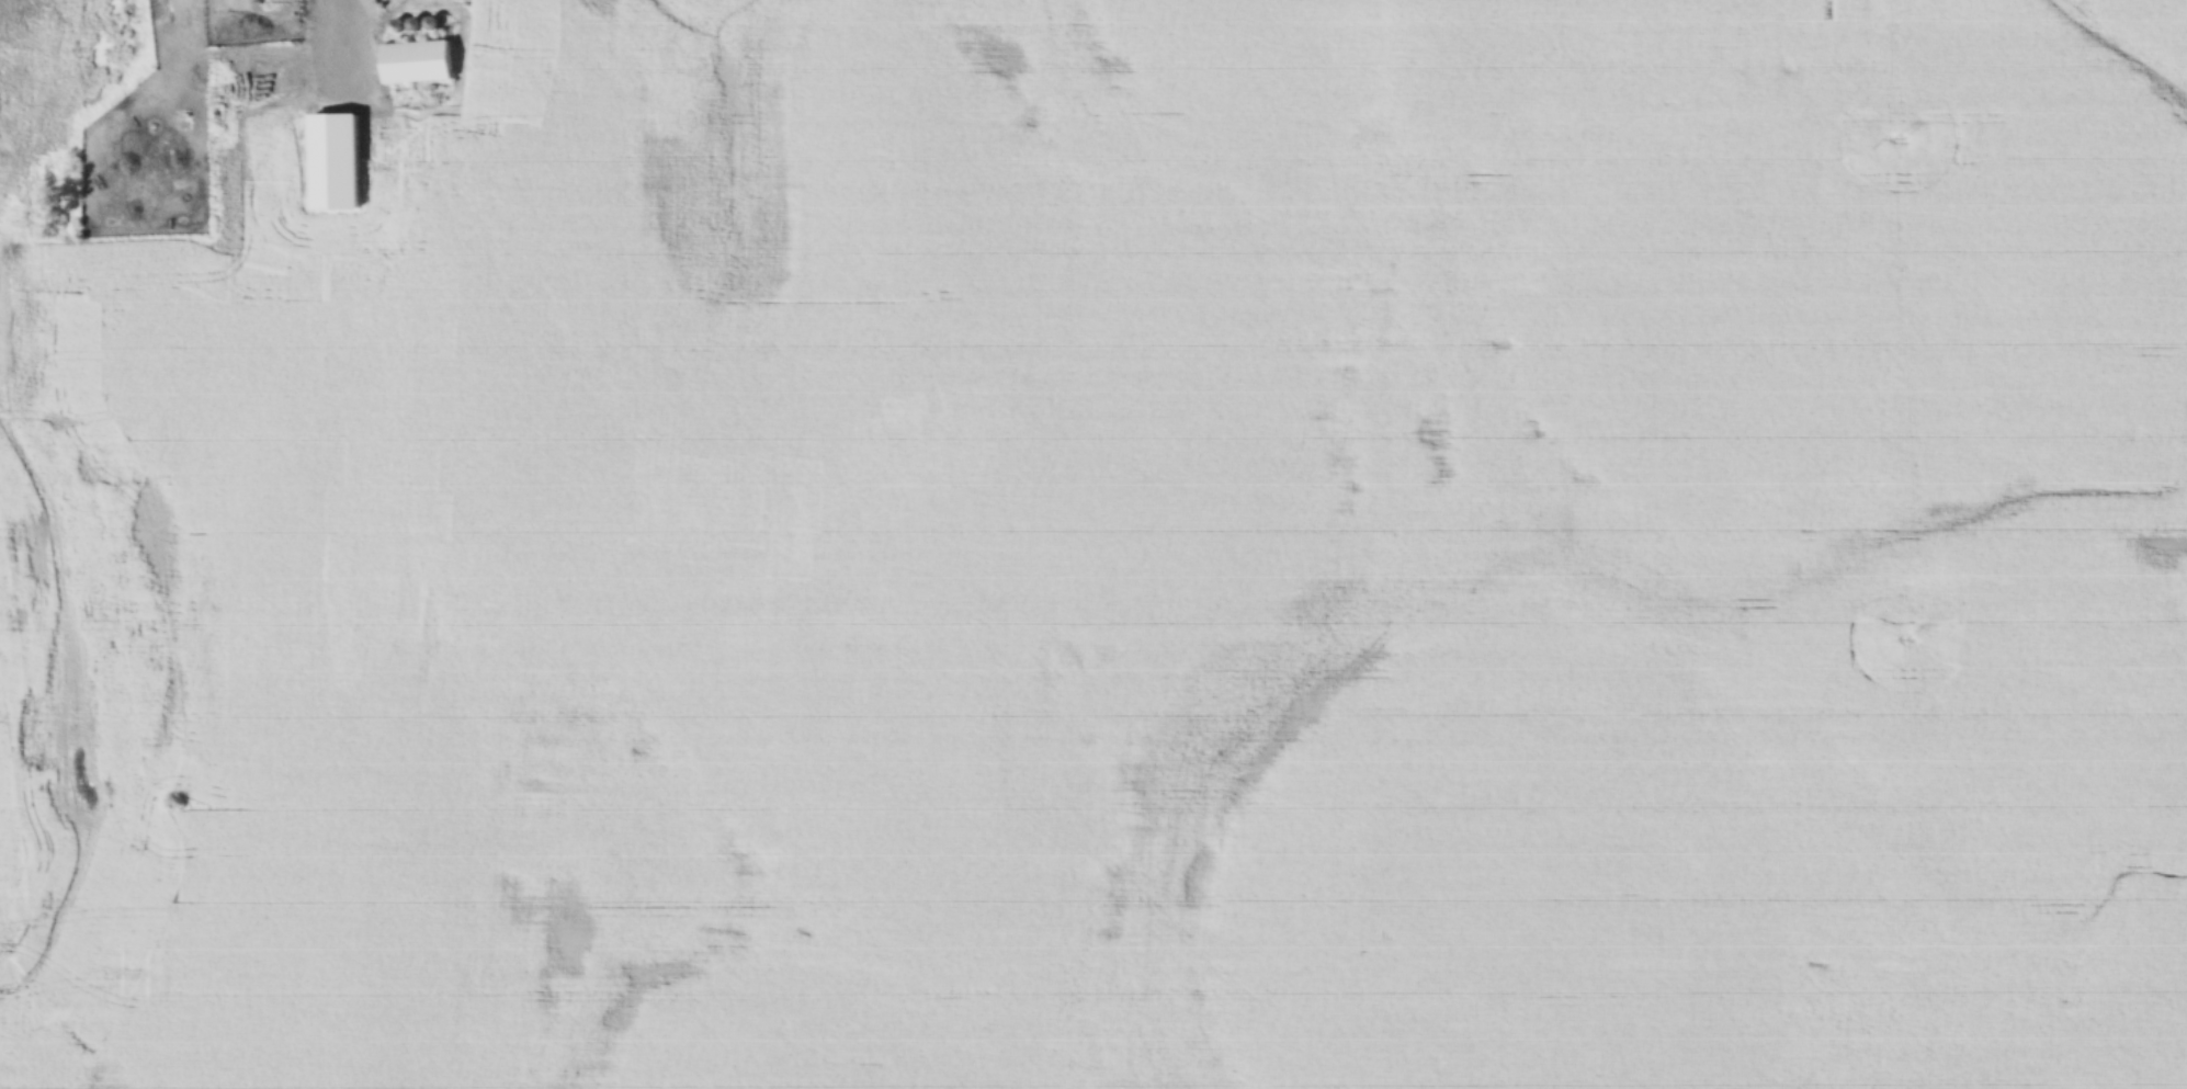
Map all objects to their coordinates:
building: (479, 9)
building: (416, 61)
power tower: (1901, 138)
power tower: (1912, 639)

